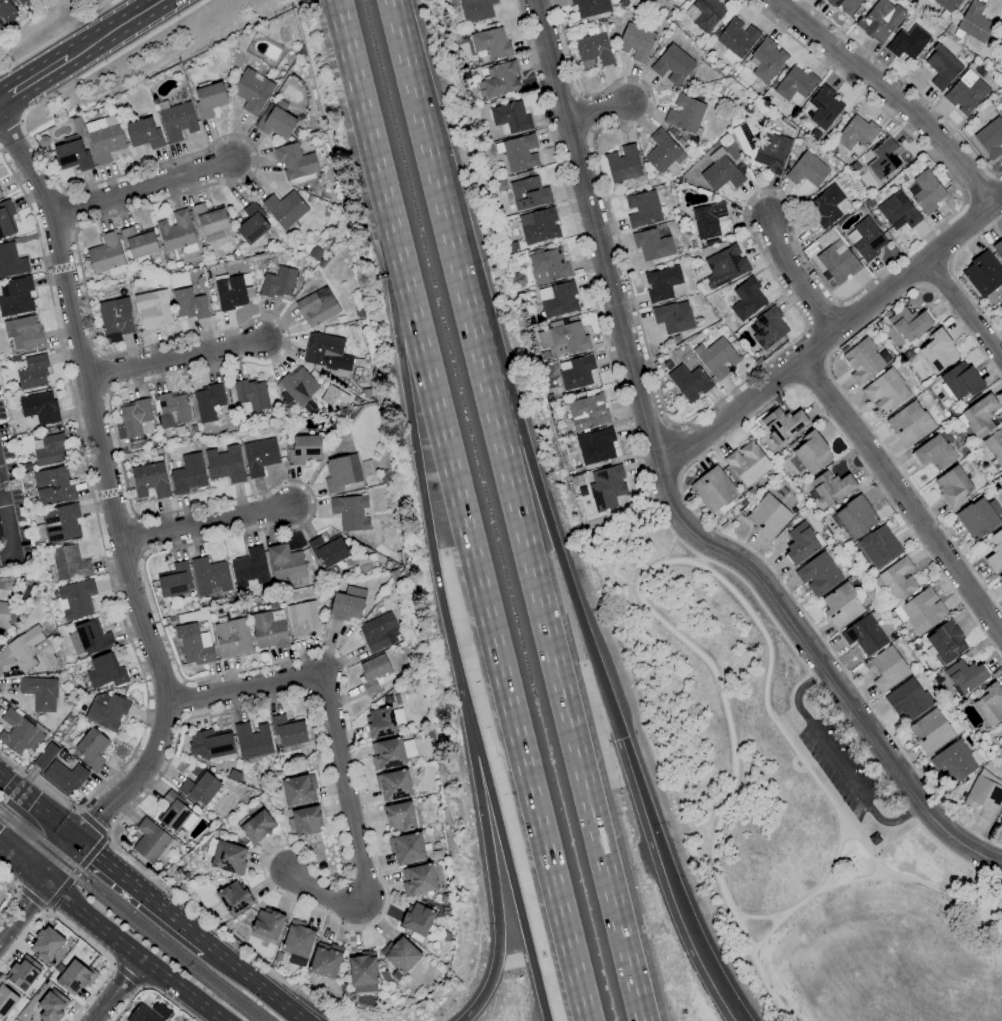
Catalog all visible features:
building: (685, 0)
building: (869, 0)
building: (623, 3)
building: (947, 5)
building: (847, 6)
building: (590, 7)
building: (10, 9)
building: (476, 10)
building: (707, 14)
building: (880, 20)
building: (975, 23)
road: (113, 29)
building: (1001, 29)
road: (56, 34)
building: (737, 38)
building: (636, 42)
building: (492, 43)
building: (908, 43)
building: (594, 49)
building: (991, 52)
building: (998, 53)
road: (350, 56)
building: (767, 60)
building: (672, 65)
building: (942, 67)
road: (33, 78)
building: (502, 79)
building: (795, 84)
road: (905, 85)
building: (252, 90)
road: (414, 92)
building: (966, 93)
road: (887, 96)
building: (209, 99)
building: (825, 107)
building: (1001, 107)
road: (599, 108)
building: (1001, 111)
road: (587, 113)
building: (685, 114)
building: (511, 117)
building: (275, 120)
building: (177, 121)
road: (10, 126)
building: (77, 127)
building: (297, 132)
building: (144, 134)
building: (814, 134)
building: (857, 135)
building: (990, 138)
building: (103, 140)
building: (43, 141)
building: (763, 148)
building: (519, 152)
building: (663, 152)
building: (72, 154)
building: (883, 159)
building: (295, 161)
building: (846, 161)
building: (624, 164)
building: (807, 170)
building: (722, 171)
building: (322, 177)
road: (142, 187)
road: (979, 188)
building: (927, 192)
building: (529, 193)
building: (0, 195)
building: (0, 197)
building: (310, 199)
building: (827, 206)
building: (285, 209)
building: (643, 209)
road: (69, 211)
building: (899, 213)
building: (6, 219)
building: (209, 219)
building: (708, 220)
building: (251, 224)
building: (541, 226)
building: (176, 232)
building: (866, 239)
building: (138, 242)
building: (652, 245)
building: (998, 249)
building: (810, 250)
building: (316, 253)
building: (106, 254)
building: (11, 261)
building: (322, 262)
building: (549, 263)
building: (725, 266)
building: (837, 266)
road: (934, 272)
building: (983, 274)
road: (951, 275)
road: (798, 277)
building: (278, 283)
building: (662, 284)
building: (232, 292)
building: (16, 297)
building: (558, 299)
building: (747, 299)
building: (189, 304)
building: (317, 306)
building: (1000, 308)
building: (153, 309)
road: (966, 311)
road: (800, 312)
building: (359, 313)
road: (822, 313)
building: (116, 317)
building: (672, 318)
building: (910, 323)
building: (769, 328)
building: (23, 333)
road: (830, 334)
building: (568, 336)
building: (676, 339)
road: (814, 349)
building: (939, 351)
building: (326, 352)
road: (175, 358)
building: (718, 358)
building: (864, 361)
road: (400, 365)
road: (105, 371)
building: (576, 372)
building: (33, 373)
road: (809, 376)
building: (961, 381)
building: (690, 382)
building: (298, 385)
road: (837, 387)
building: (886, 392)
building: (366, 393)
building: (252, 395)
building: (333, 397)
building: (208, 402)
building: (40, 408)
building: (172, 409)
building: (287, 412)
building: (588, 412)
building: (980, 416)
building: (133, 420)
building: (783, 424)
building: (910, 424)
building: (793, 444)
road: (676, 446)
building: (995, 446)
building: (598, 447)
building: (304, 449)
building: (51, 450)
building: (935, 451)
building: (812, 452)
building: (260, 456)
road: (529, 461)
building: (748, 463)
building: (225, 464)
building: (27, 467)
building: (341, 473)
building: (1001, 473)
building: (188, 474)
building: (23, 478)
building: (576, 478)
building: (150, 480)
road: (678, 481)
building: (53, 486)
building: (831, 487)
building: (953, 487)
building: (604, 490)
building: (714, 490)
road: (110, 491)
road: (665, 491)
building: (749, 493)
road: (901, 498)
road: (651, 504)
building: (350, 512)
building: (768, 517)
building: (856, 517)
building: (977, 518)
road: (201, 522)
building: (61, 524)
road: (6, 531)
building: (0, 534)
road: (100, 535)
road: (234, 535)
road: (139, 537)
building: (800, 544)
building: (879, 547)
building: (328, 550)
building: (995, 551)
building: (69, 563)
building: (285, 563)
building: (387, 565)
road: (480, 566)
building: (250, 567)
road: (644, 571)
building: (393, 575)
building: (819, 575)
building: (210, 576)
building: (1000, 578)
building: (898, 579)
building: (174, 581)
building: (77, 599)
road: (540, 603)
building: (347, 604)
building: (841, 605)
building: (923, 611)
building: (4, 615)
building: (302, 618)
building: (268, 631)
building: (380, 632)
building: (865, 633)
building: (92, 637)
building: (232, 638)
building: (946, 642)
building: (193, 645)
building: (33, 651)
building: (887, 668)
building: (106, 671)
building: (375, 673)
building: (966, 675)
road: (1, 682)
building: (40, 693)
road: (790, 698)
building: (68, 699)
building: (908, 699)
road: (183, 700)
building: (990, 704)
building: (107, 711)
road: (746, 712)
building: (383, 721)
building: (20, 731)
building: (931, 731)
building: (289, 732)
building: (430, 734)
traffic signals: (620, 738)
building: (252, 740)
building: (211, 744)
building: (1001, 747)
building: (91, 749)
road: (336, 749)
building: (391, 753)
building: (46, 756)
building: (64, 756)
building: (953, 762)
road: (838, 764)
parking lot: (839, 767)
building: (65, 777)
building: (394, 785)
building: (200, 788)
building: (299, 790)
flagpole: (73, 798)
building: (984, 798)
road: (39, 808)
park: (799, 808)
road: (80, 810)
building: (175, 813)
building: (400, 817)
road: (496, 819)
building: (1001, 820)
building: (306, 821)
road: (483, 823)
building: (256, 828)
road: (108, 836)
building: (873, 839)
traffic signals: (78, 841)
building: (150, 841)
building: (406, 848)
building: (229, 858)
road: (60, 861)
road: (22, 864)
road: (76, 872)
road: (869, 877)
building: (419, 880)
traffic signals: (44, 883)
road: (669, 883)
road: (18, 888)
road: (16, 890)
road: (142, 893)
building: (443, 897)
building: (234, 898)
road: (45, 911)
road: (22, 913)
railway: (135, 914)
road: (756, 917)
building: (417, 919)
railway: (127, 920)
building: (268, 924)
road: (78, 932)
building: (298, 939)
road: (18, 940)
building: (45, 944)
building: (435, 946)
road: (132, 952)
building: (400, 957)
building: (325, 960)
building: (58, 968)
building: (21, 971)
building: (363, 972)
building: (385, 976)
building: (74, 977)
road: (255, 983)
road: (152, 989)
road: (771, 989)
road: (116, 990)
road: (92, 994)
building: (5, 1000)
building: (50, 1005)
road: (290, 1009)
building: (142, 1014)

